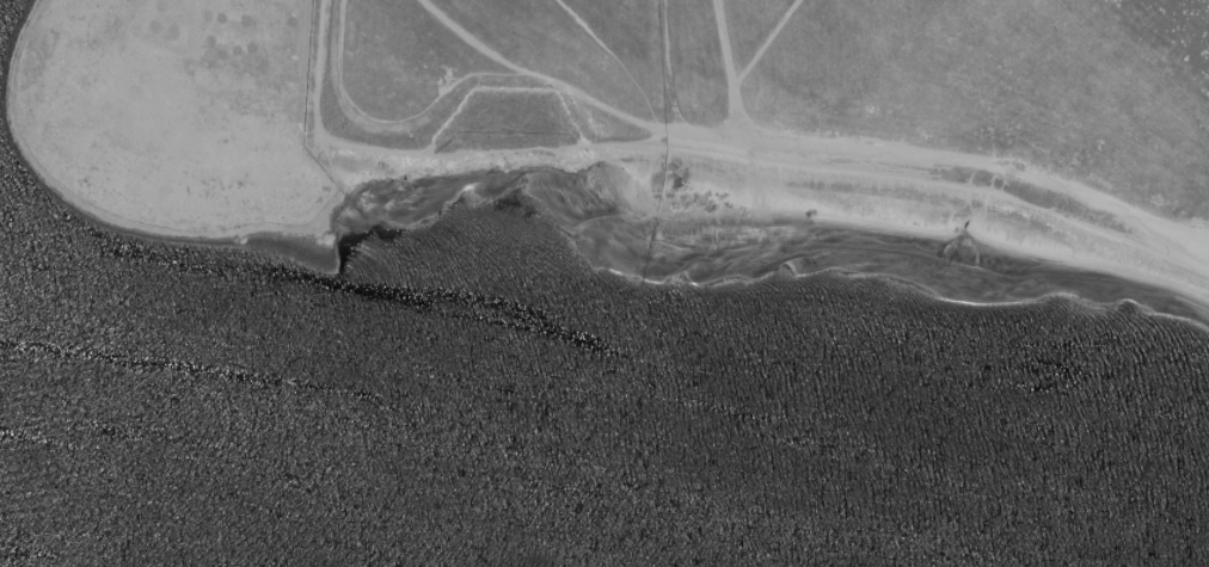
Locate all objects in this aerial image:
road: (743, 62)
park: (646, 121)
road: (886, 158)
road: (1207, 259)

